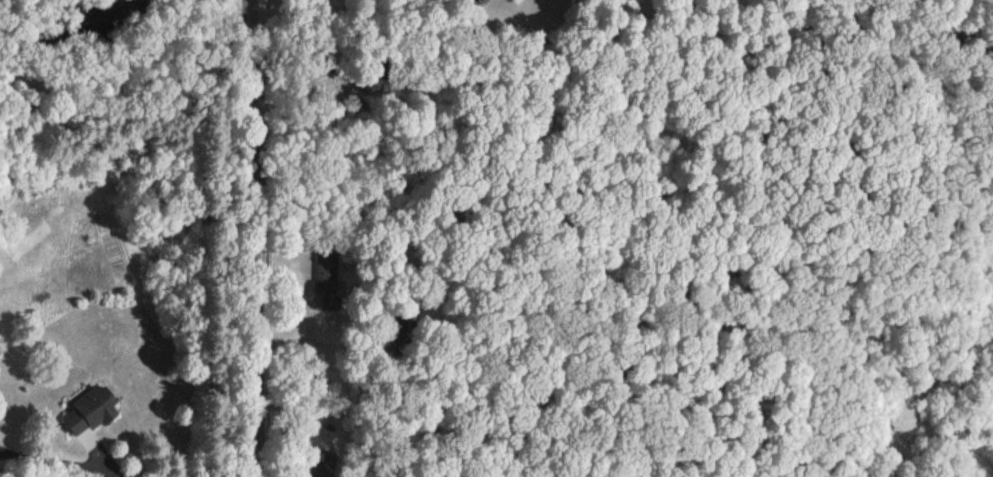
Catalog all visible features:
road: (251, 238)
building: (93, 412)
road: (50, 463)

